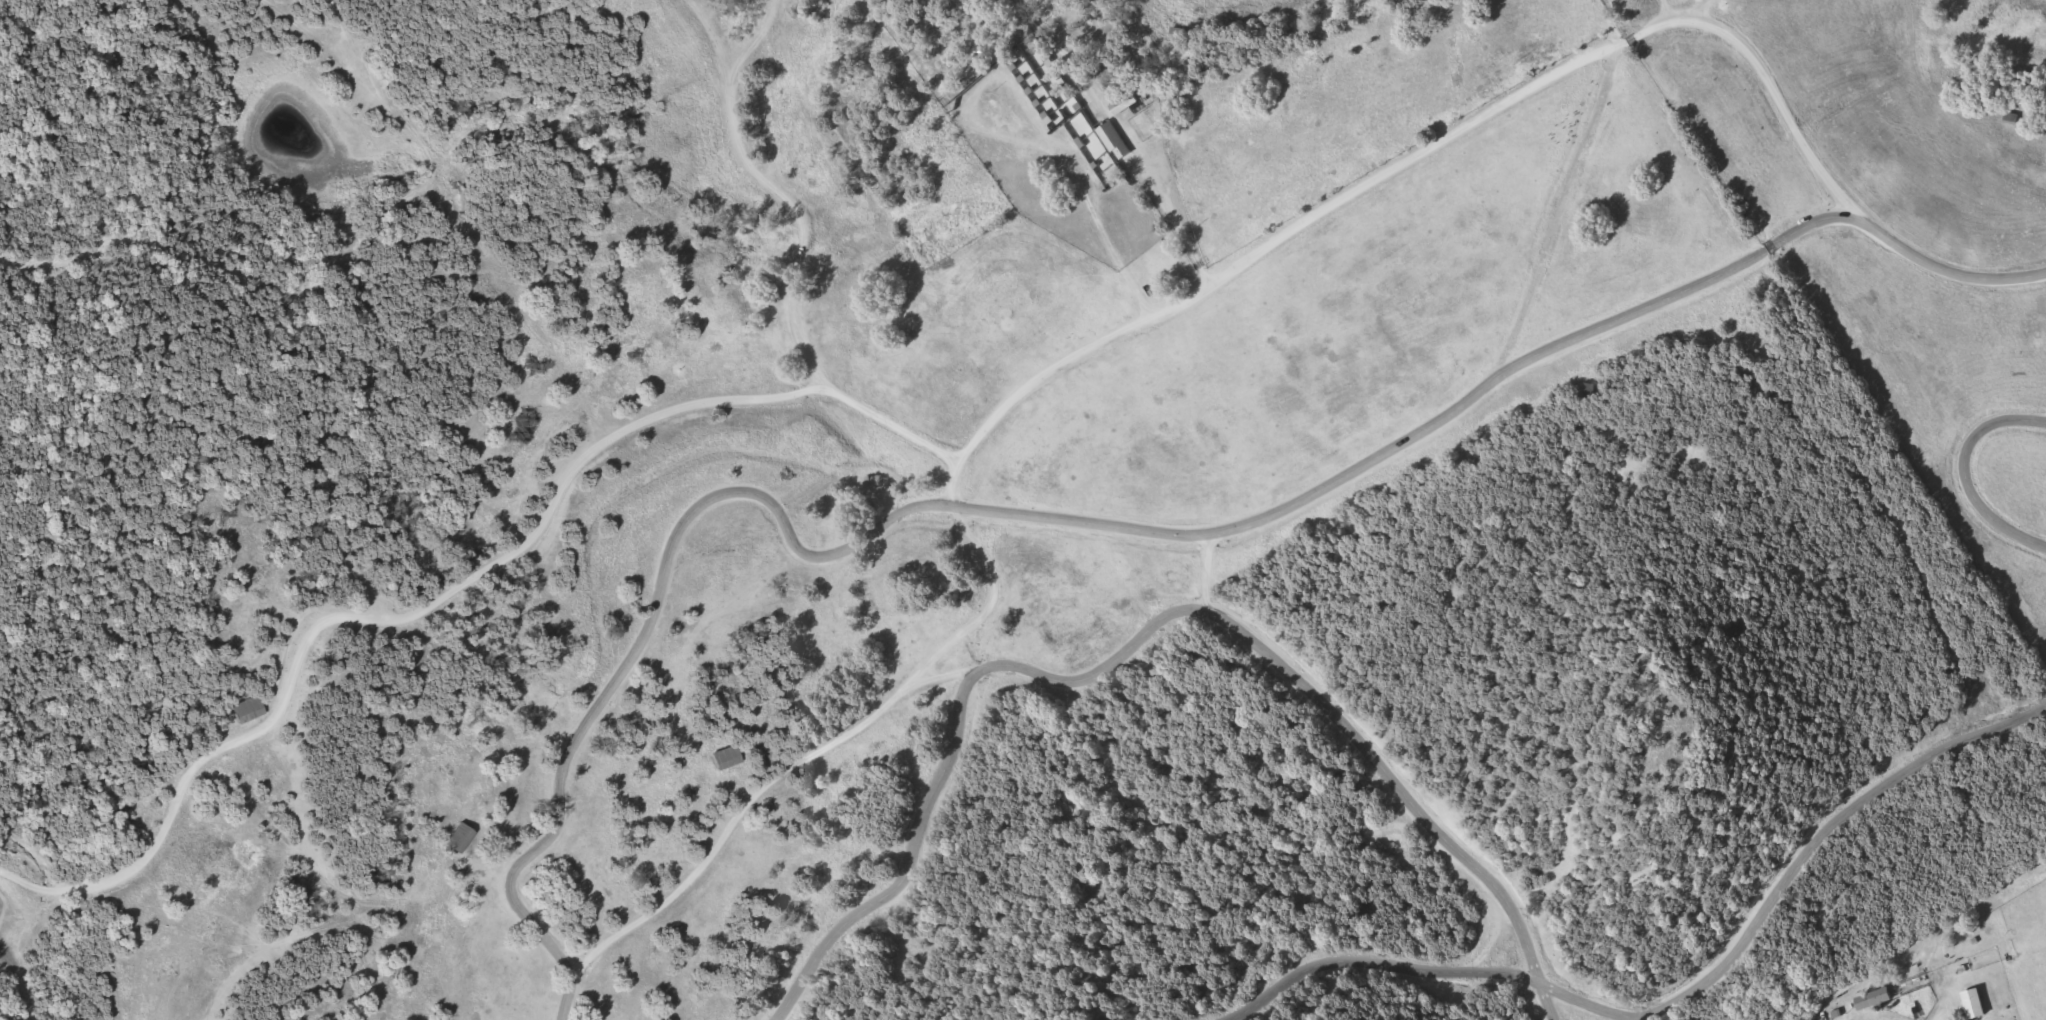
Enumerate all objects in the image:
road: (1675, 7)
road: (749, 45)
building: (1125, 104)
building: (1116, 141)
road: (784, 192)
road: (470, 221)
road: (327, 277)
road: (1003, 409)
road: (1966, 471)
road: (995, 511)
building: (252, 711)
road: (815, 750)
building: (728, 758)
building: (462, 839)
road: (1809, 844)
road: (1459, 847)
road: (1517, 967)
building: (1874, 998)

